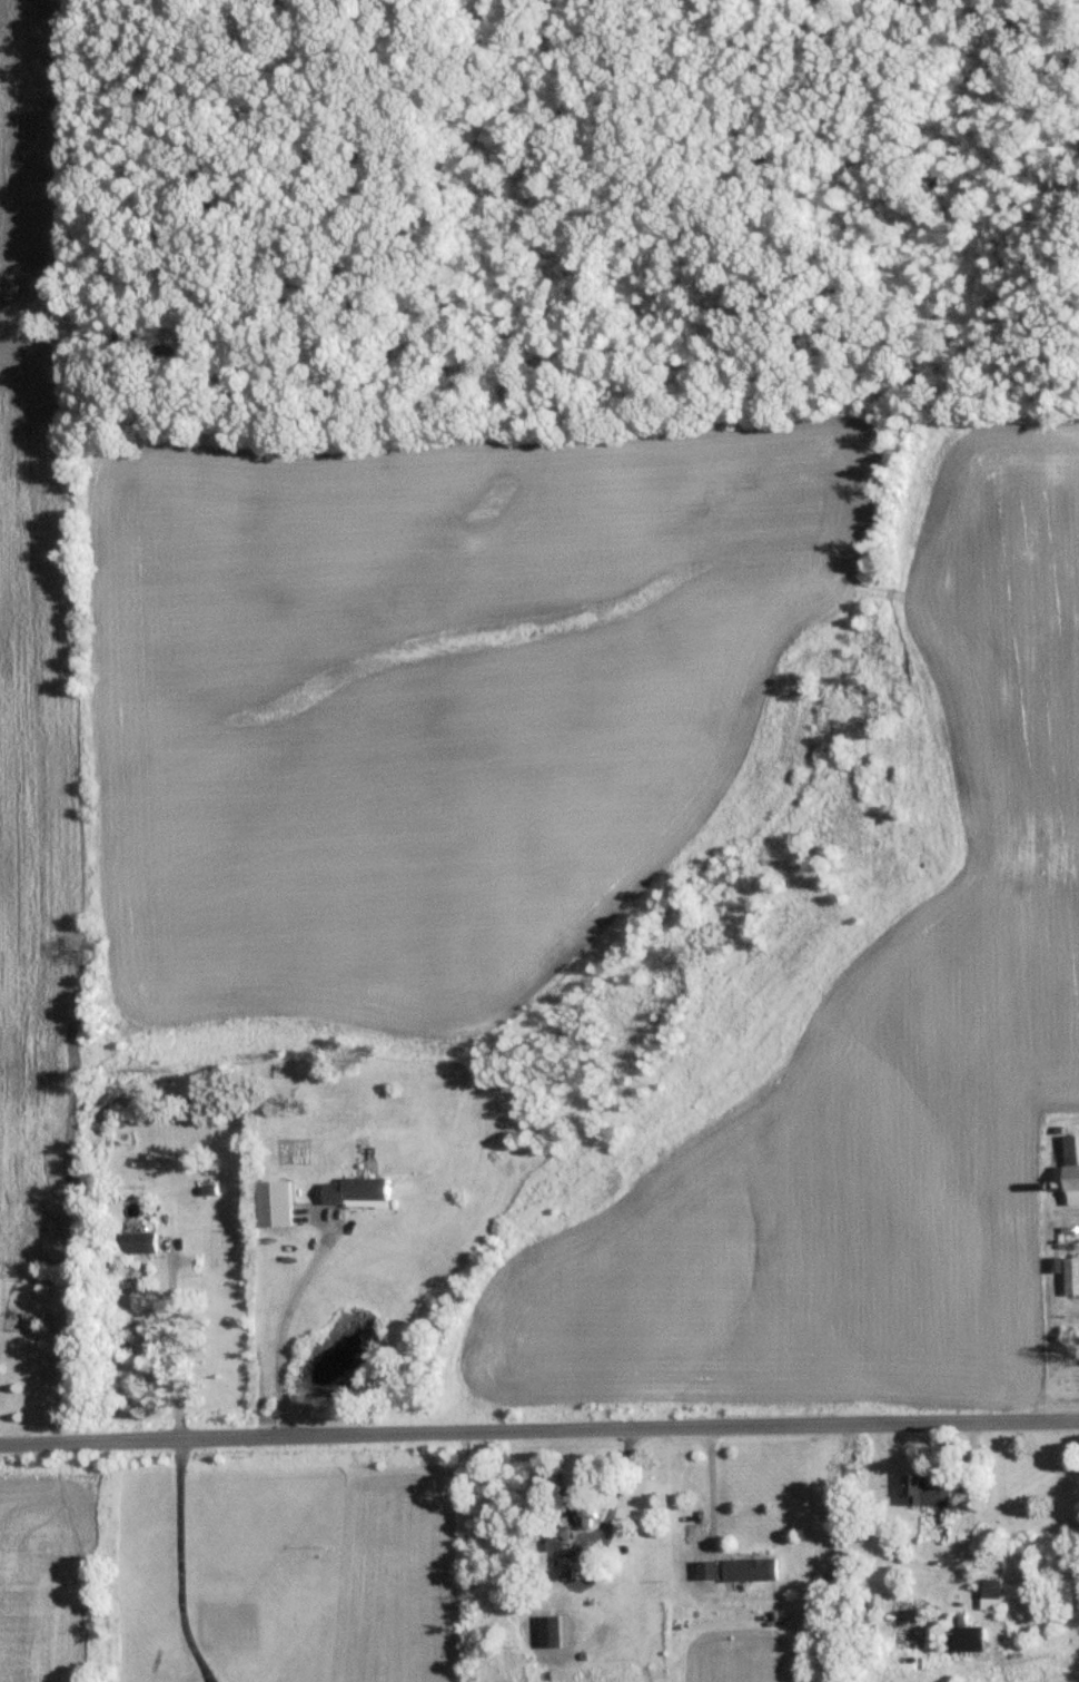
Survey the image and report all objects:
building: (1069, 1169)
building: (357, 1190)
building: (139, 1242)
building: (1070, 1276)
road: (284, 1331)
road: (174, 1350)
road: (539, 1443)
building: (925, 1489)
road: (725, 1499)
building: (583, 1505)
building: (556, 1538)
building: (750, 1567)
building: (706, 1568)
road: (180, 1570)
building: (865, 1601)
building: (550, 1631)
building: (960, 1635)

